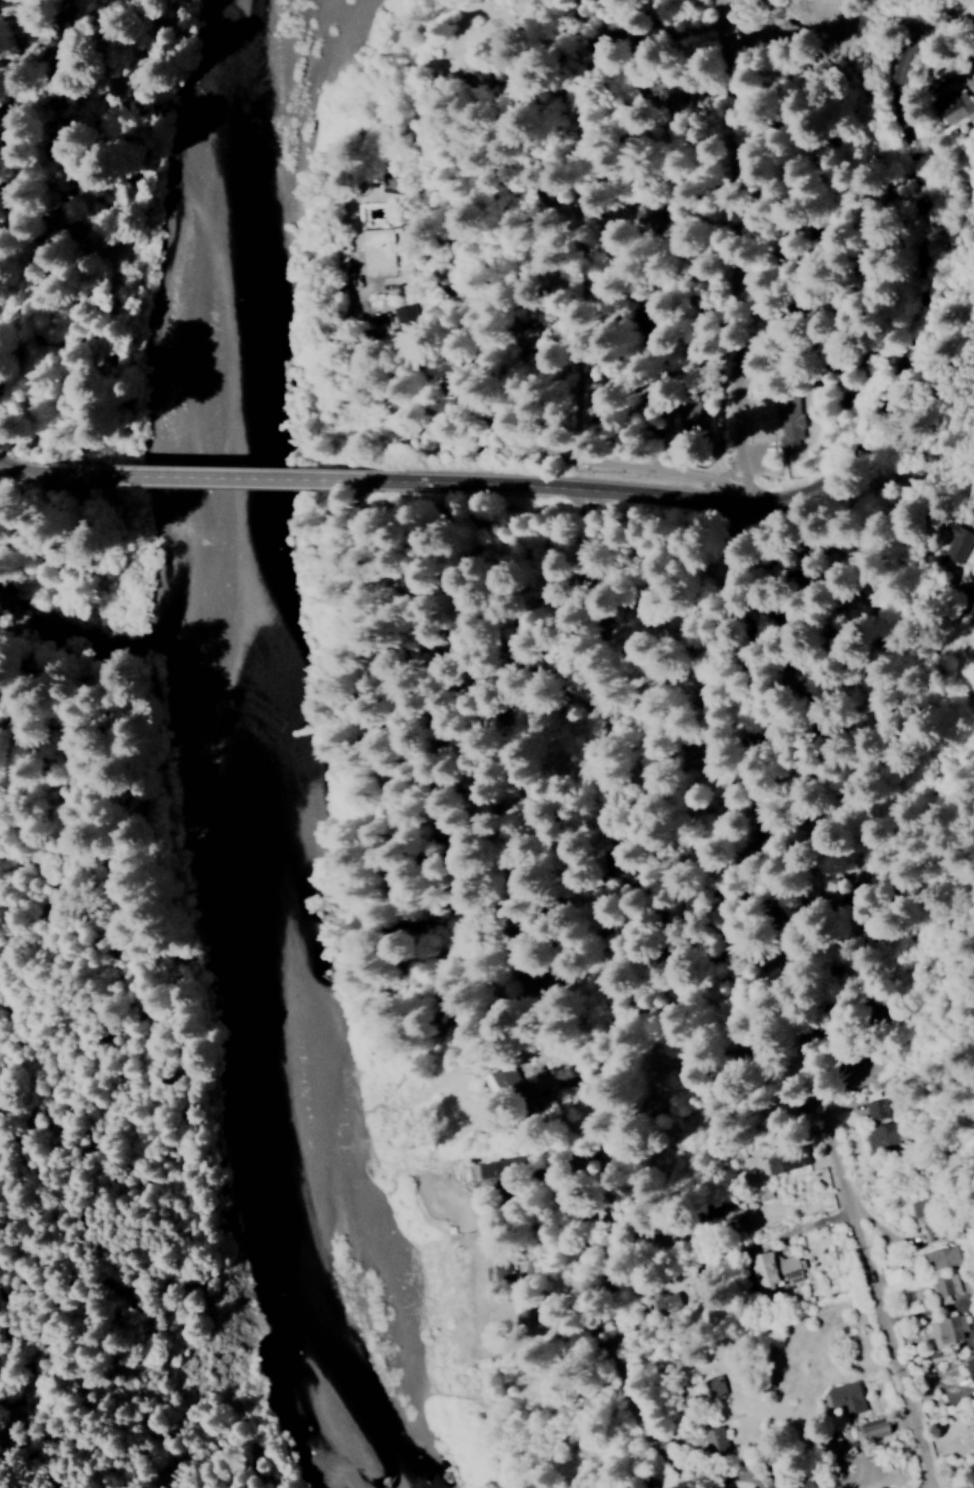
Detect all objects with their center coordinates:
building: (955, 105)
road: (539, 199)
road: (723, 247)
building: (379, 254)
river: (252, 302)
road: (430, 340)
road: (846, 414)
building: (694, 418)
building: (788, 422)
road: (28, 473)
road: (234, 478)
building: (959, 543)
building: (970, 598)
road: (794, 995)
road: (622, 1053)
river: (252, 1071)
building: (877, 1118)
building: (787, 1160)
road: (718, 1198)
building: (730, 1210)
road: (742, 1216)
road: (772, 1257)
building: (943, 1257)
building: (775, 1269)
building: (946, 1284)
building: (668, 1302)
building: (949, 1331)
building: (970, 1367)
building: (717, 1385)
building: (850, 1397)
building: (879, 1428)
building: (715, 1439)

